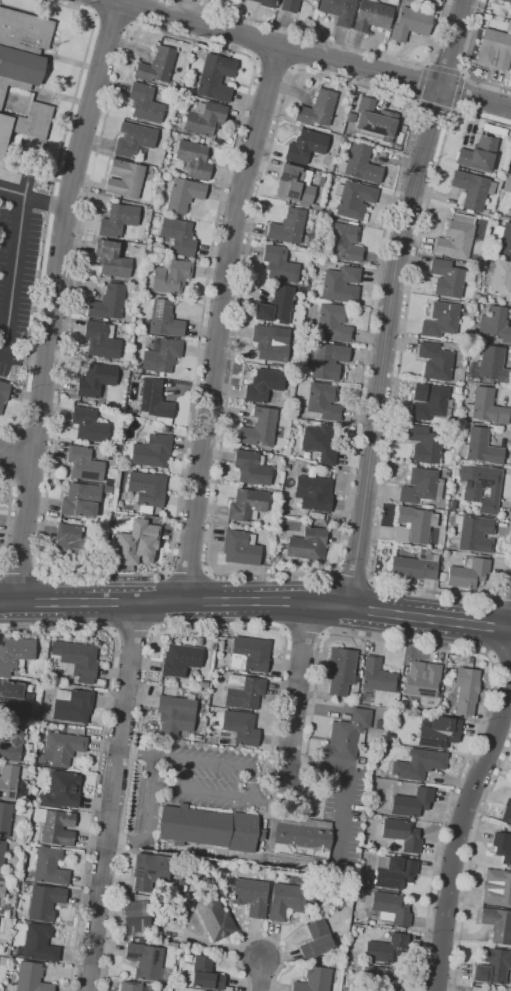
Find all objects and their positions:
building: (312, 0)
building: (507, 1)
building: (266, 3)
building: (421, 3)
building: (288, 5)
building: (339, 10)
building: (510, 13)
building: (372, 16)
building: (486, 17)
road: (113, 21)
building: (410, 23)
road: (334, 41)
road: (452, 44)
building: (21, 49)
building: (494, 49)
road: (309, 54)
road: (466, 59)
building: (156, 66)
road: (445, 70)
building: (215, 78)
road: (421, 83)
road: (458, 91)
road: (399, 96)
building: (144, 103)
road: (434, 106)
building: (317, 109)
building: (204, 118)
building: (374, 121)
building: (25, 123)
building: (173, 128)
building: (494, 130)
building: (134, 140)
building: (306, 146)
building: (478, 154)
building: (193, 160)
building: (360, 164)
building: (124, 179)
building: (321, 181)
building: (507, 183)
building: (295, 186)
building: (472, 190)
building: (183, 195)
road: (33, 199)
building: (353, 199)
road: (51, 203)
building: (316, 207)
building: (510, 210)
building: (117, 220)
building: (341, 221)
building: (288, 227)
building: (178, 237)
building: (456, 237)
building: (503, 238)
building: (345, 242)
building: (111, 260)
building: (279, 264)
parking lot: (17, 266)
road: (15, 274)
building: (170, 277)
building: (448, 278)
building: (501, 279)
building: (341, 284)
road: (53, 300)
building: (108, 303)
building: (277, 307)
building: (161, 320)
building: (440, 320)
road: (220, 321)
building: (333, 322)
building: (495, 324)
building: (474, 336)
building: (322, 337)
building: (101, 340)
building: (268, 345)
road: (383, 346)
road: (22, 355)
building: (161, 355)
building: (325, 360)
building: (435, 361)
building: (491, 366)
building: (96, 380)
building: (264, 385)
building: (3, 393)
building: (154, 401)
building: (323, 401)
building: (428, 401)
road: (394, 407)
building: (486, 407)
building: (88, 425)
building: (259, 427)
building: (165, 429)
building: (319, 442)
building: (424, 444)
building: (480, 447)
building: (151, 451)
road: (17, 453)
building: (83, 464)
building: (251, 468)
building: (286, 468)
building: (328, 471)
building: (421, 486)
building: (481, 487)
building: (107, 489)
building: (146, 490)
building: (313, 493)
building: (80, 500)
building: (247, 505)
building: (315, 516)
road: (8, 519)
building: (81, 522)
building: (414, 525)
building: (474, 533)
building: (73, 542)
building: (136, 544)
building: (308, 544)
building: (240, 548)
building: (436, 551)
building: (415, 566)
road: (150, 572)
building: (468, 573)
road: (354, 575)
road: (505, 597)
road: (256, 601)
road: (133, 631)
building: (208, 645)
building: (15, 654)
building: (249, 654)
building: (76, 658)
road: (501, 658)
building: (180, 660)
building: (469, 660)
building: (340, 670)
building: (378, 677)
building: (422, 679)
building: (165, 683)
road: (297, 690)
building: (466, 690)
building: (243, 691)
building: (12, 699)
building: (72, 705)
building: (402, 706)
building: (176, 714)
building: (241, 727)
building: (438, 732)
building: (347, 735)
building: (198, 737)
building: (11, 742)
building: (62, 748)
road: (100, 755)
building: (418, 764)
road: (349, 777)
building: (11, 782)
building: (62, 789)
road: (112, 796)
road: (294, 796)
building: (412, 802)
building: (507, 811)
building: (5, 819)
building: (55, 826)
road: (461, 827)
building: (210, 828)
building: (401, 834)
building: (300, 837)
building: (502, 847)
building: (2, 855)
road: (471, 863)
building: (49, 867)
building: (150, 870)
building: (394, 871)
building: (181, 882)
building: (2, 888)
building: (497, 888)
building: (360, 891)
building: (251, 896)
building: (288, 900)
building: (44, 901)
building: (390, 908)
building: (138, 916)
building: (214, 918)
building: (497, 924)
building: (400, 928)
road: (261, 936)
building: (142, 940)
building: (317, 940)
building: (38, 943)
building: (388, 949)
building: (2, 959)
building: (145, 960)
building: (493, 966)
road: (260, 974)
building: (204, 975)
building: (29, 978)
building: (380, 978)
building: (314, 980)
building: (132, 986)
building: (477, 988)

